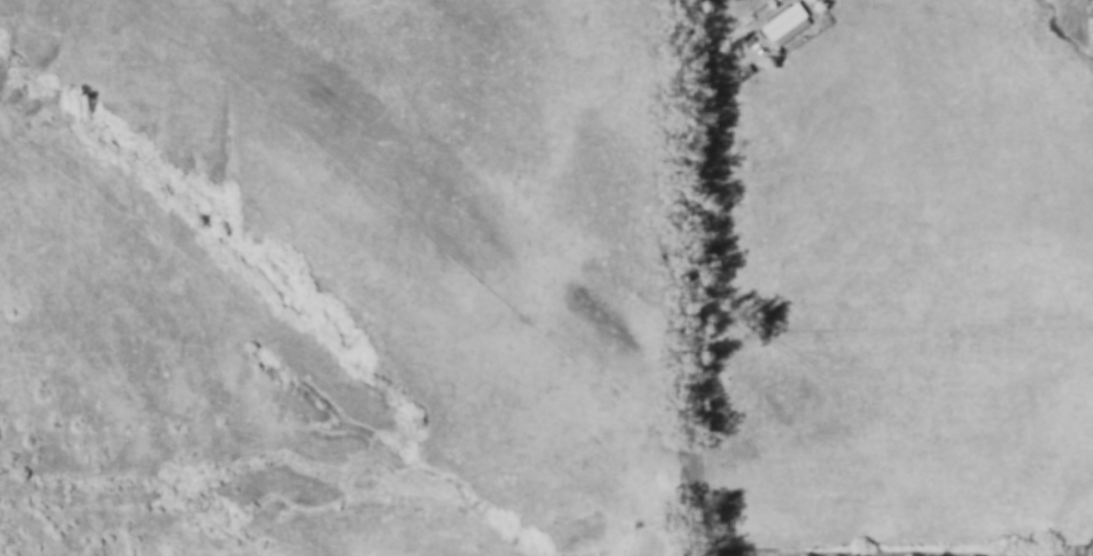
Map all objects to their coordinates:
building: (793, 21)
building: (749, 68)
road: (695, 277)
road: (896, 553)

